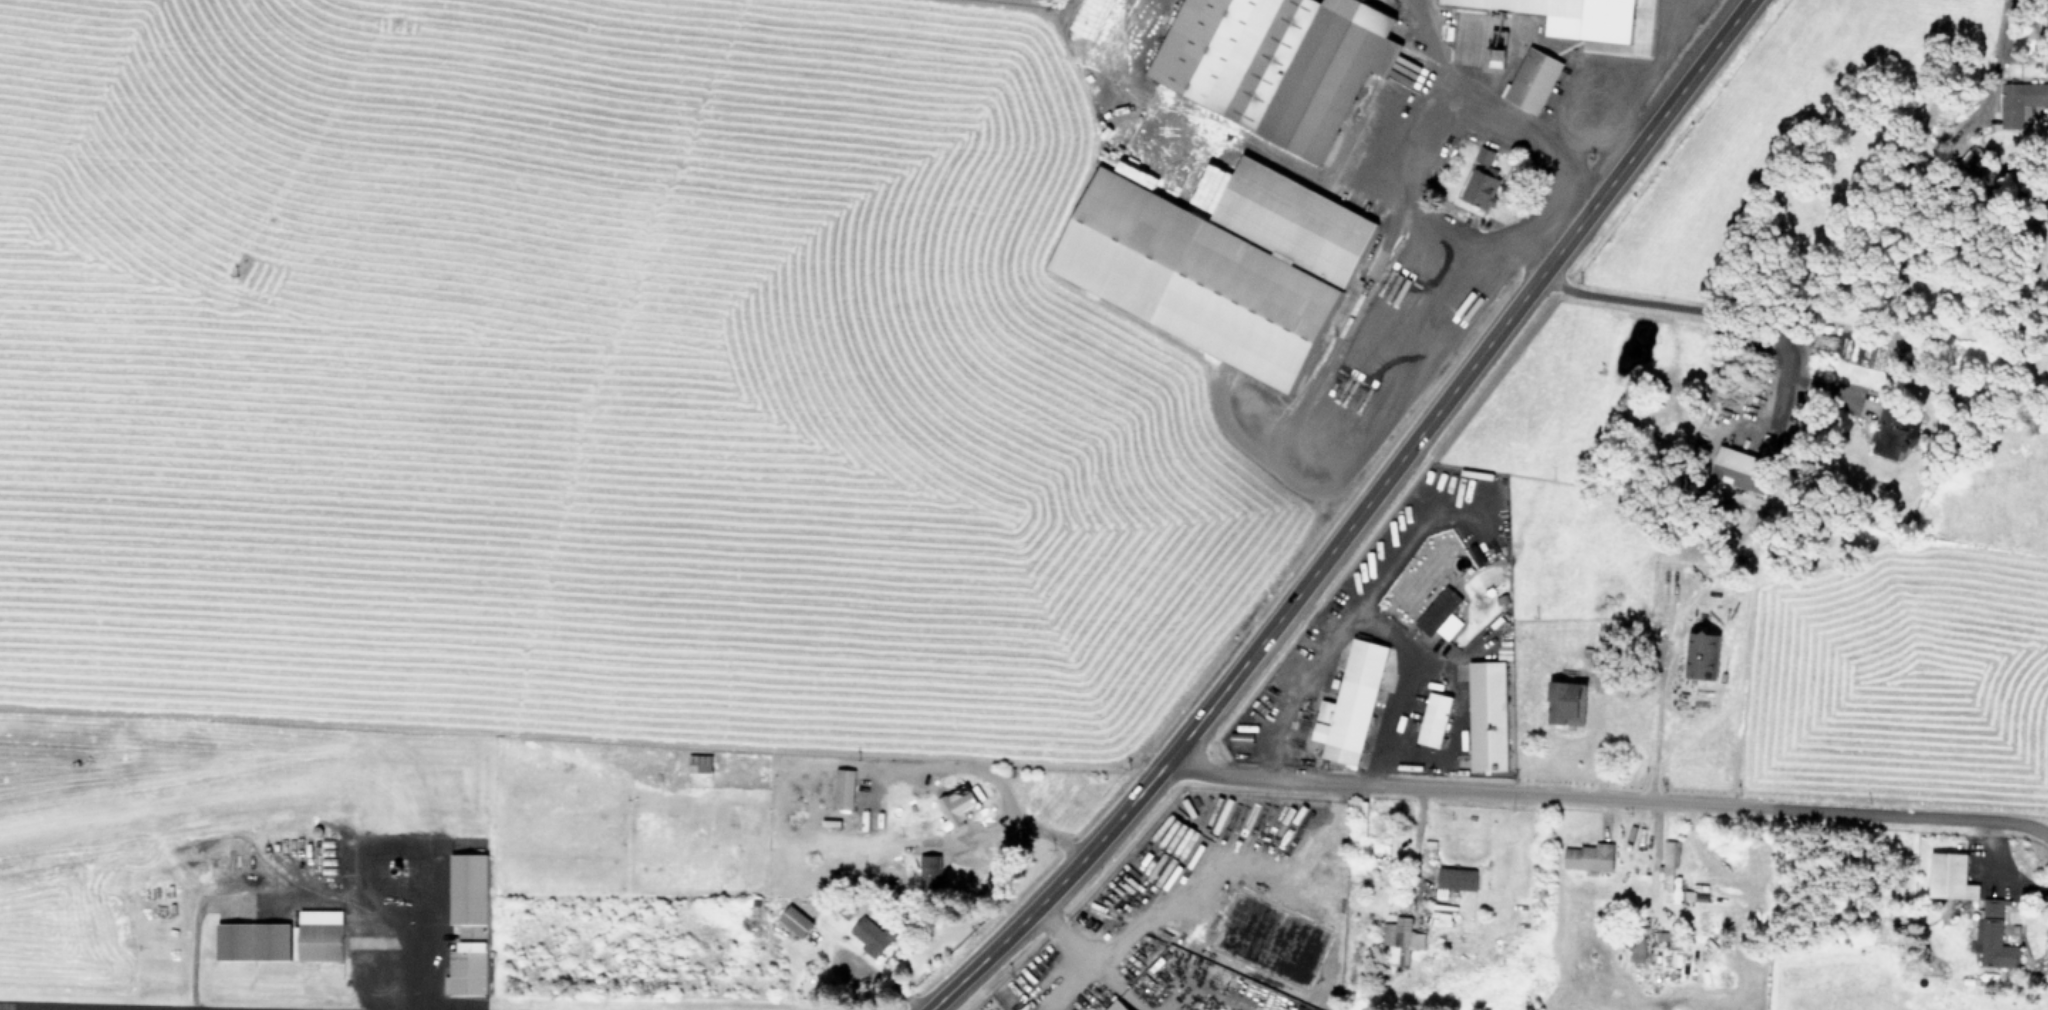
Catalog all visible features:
building: (1527, 6)
road: (1431, 48)
road: (1102, 51)
road: (2002, 53)
building: (1280, 63)
building: (1534, 81)
building: (2021, 103)
road: (1600, 125)
road: (1577, 166)
road: (1384, 177)
building: (1484, 185)
road: (1547, 209)
building: (1222, 266)
road: (1675, 303)
crop: (710, 354)
road: (1370, 418)
building: (1885, 432)
building: (1742, 471)
road: (1357, 518)
building: (1442, 617)
road: (1355, 620)
building: (1702, 656)
building: (1354, 705)
building: (1568, 705)
building: (1489, 718)
building: (1436, 722)
road: (1652, 745)
building: (700, 766)
building: (844, 791)
road: (1609, 801)
building: (961, 803)
building: (1365, 852)
building: (1589, 858)
building: (1670, 867)
road: (2001, 870)
building: (1952, 878)
building: (1457, 881)
crop: (1710, 886)
airport: (274, 893)
airport apron: (391, 921)
building: (467, 921)
building: (796, 922)
building: (319, 932)
building: (1402, 935)
building: (252, 938)
building: (873, 938)
building: (1996, 939)
building: (1118, 1006)
airport runway: (77, 1007)

